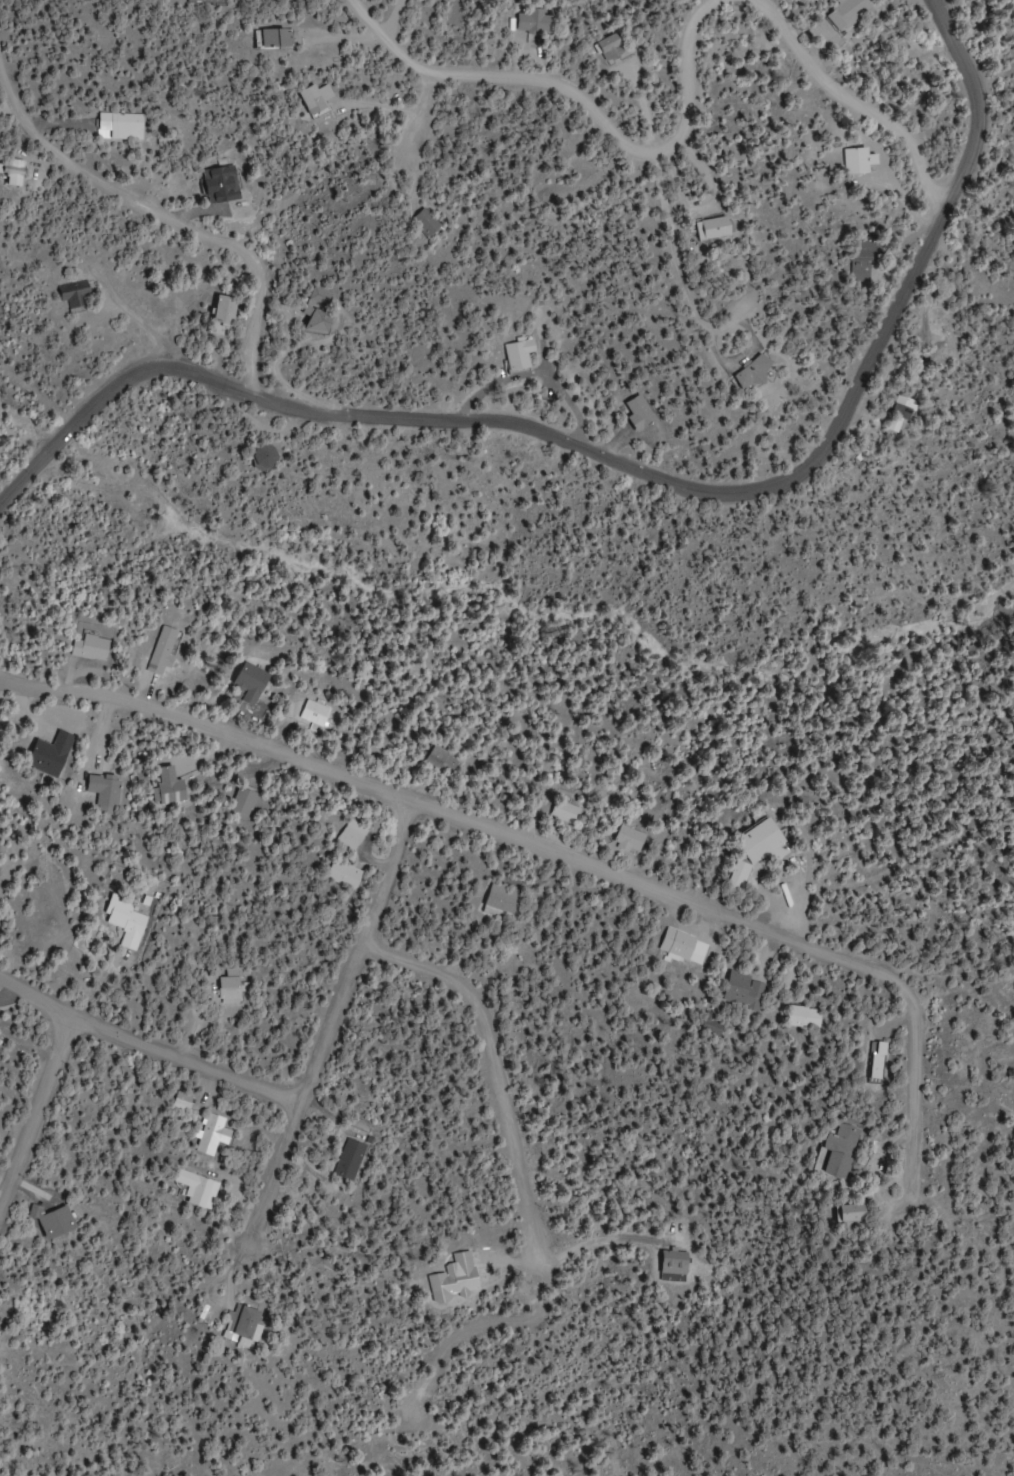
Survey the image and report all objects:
building: (208, 0)
building: (849, 13)
building: (535, 22)
building: (276, 36)
building: (611, 46)
building: (316, 97)
road: (851, 103)
road: (582, 107)
building: (120, 125)
road: (416, 142)
building: (858, 160)
building: (14, 171)
building: (222, 183)
road: (163, 217)
building: (426, 222)
building: (713, 228)
building: (863, 261)
building: (75, 293)
building: (321, 295)
building: (224, 314)
building: (317, 319)
building: (520, 353)
building: (754, 370)
building: (640, 412)
building: (902, 412)
road: (632, 466)
building: (91, 647)
building: (163, 650)
building: (251, 682)
building: (316, 713)
building: (51, 754)
building: (443, 762)
building: (170, 787)
building: (105, 792)
building: (245, 801)
building: (567, 811)
road: (475, 830)
building: (353, 834)
building: (629, 839)
building: (762, 841)
building: (739, 874)
building: (345, 875)
building: (502, 898)
building: (126, 922)
building: (684, 947)
building: (229, 988)
building: (744, 991)
road: (36, 998)
building: (805, 1017)
building: (717, 1027)
road: (320, 1039)
road: (181, 1060)
building: (876, 1062)
road: (490, 1067)
building: (183, 1101)
road: (36, 1114)
road: (909, 1117)
building: (213, 1134)
building: (839, 1151)
building: (350, 1160)
building: (202, 1193)
building: (854, 1213)
building: (53, 1221)
building: (674, 1262)
building: (244, 1323)

